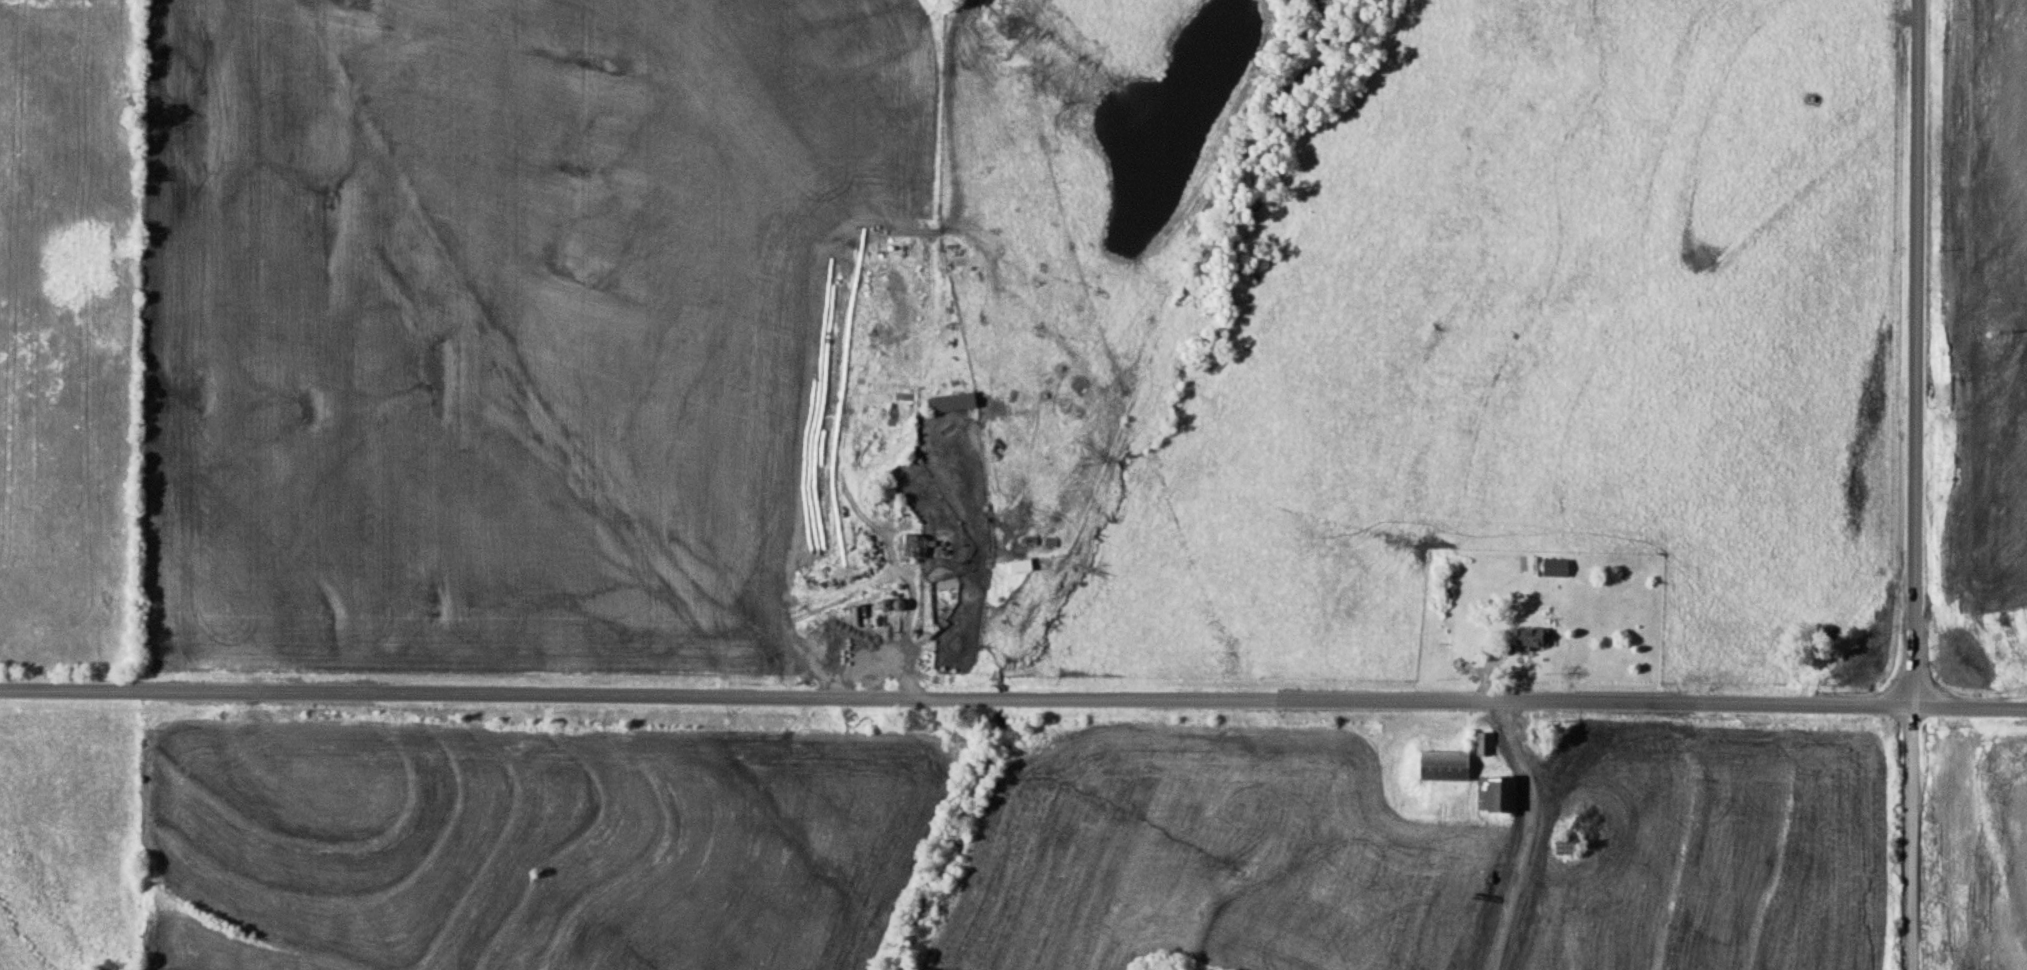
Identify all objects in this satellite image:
road: (1914, 351)
building: (954, 401)
building: (892, 414)
building: (914, 542)
building: (1558, 566)
building: (1534, 636)
road: (1013, 695)
building: (1485, 743)
building: (1448, 764)
road: (1911, 836)

